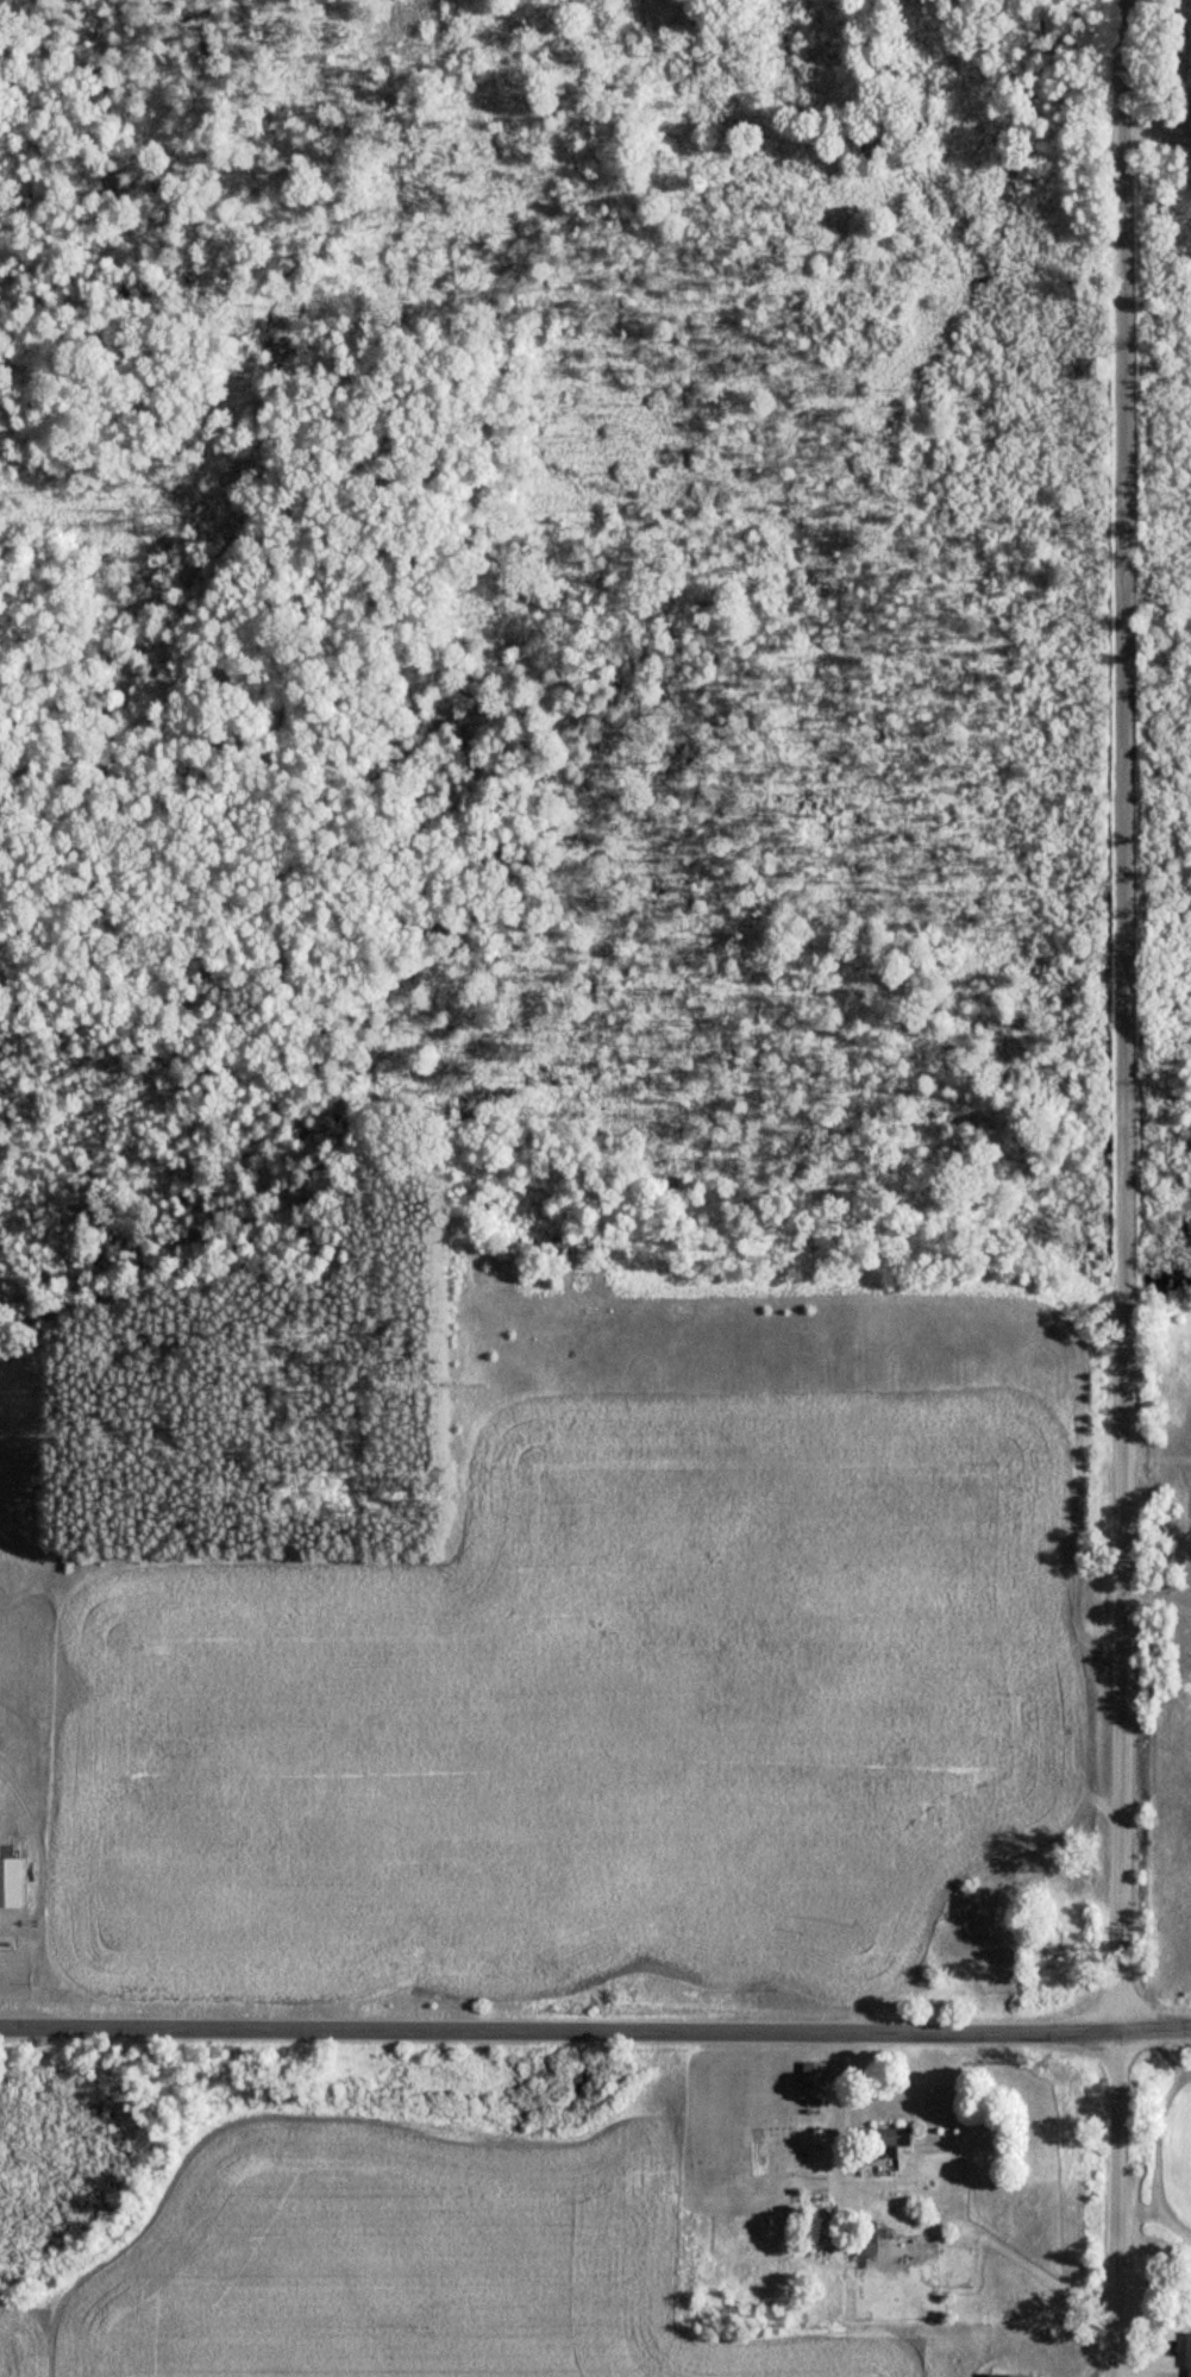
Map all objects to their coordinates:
road: (1156, 136)
road: (1122, 1188)
building: (566, 1243)
road: (595, 2030)
building: (816, 2074)
building: (884, 2141)
building: (870, 2243)
building: (1189, 2356)
building: (1011, 2376)

